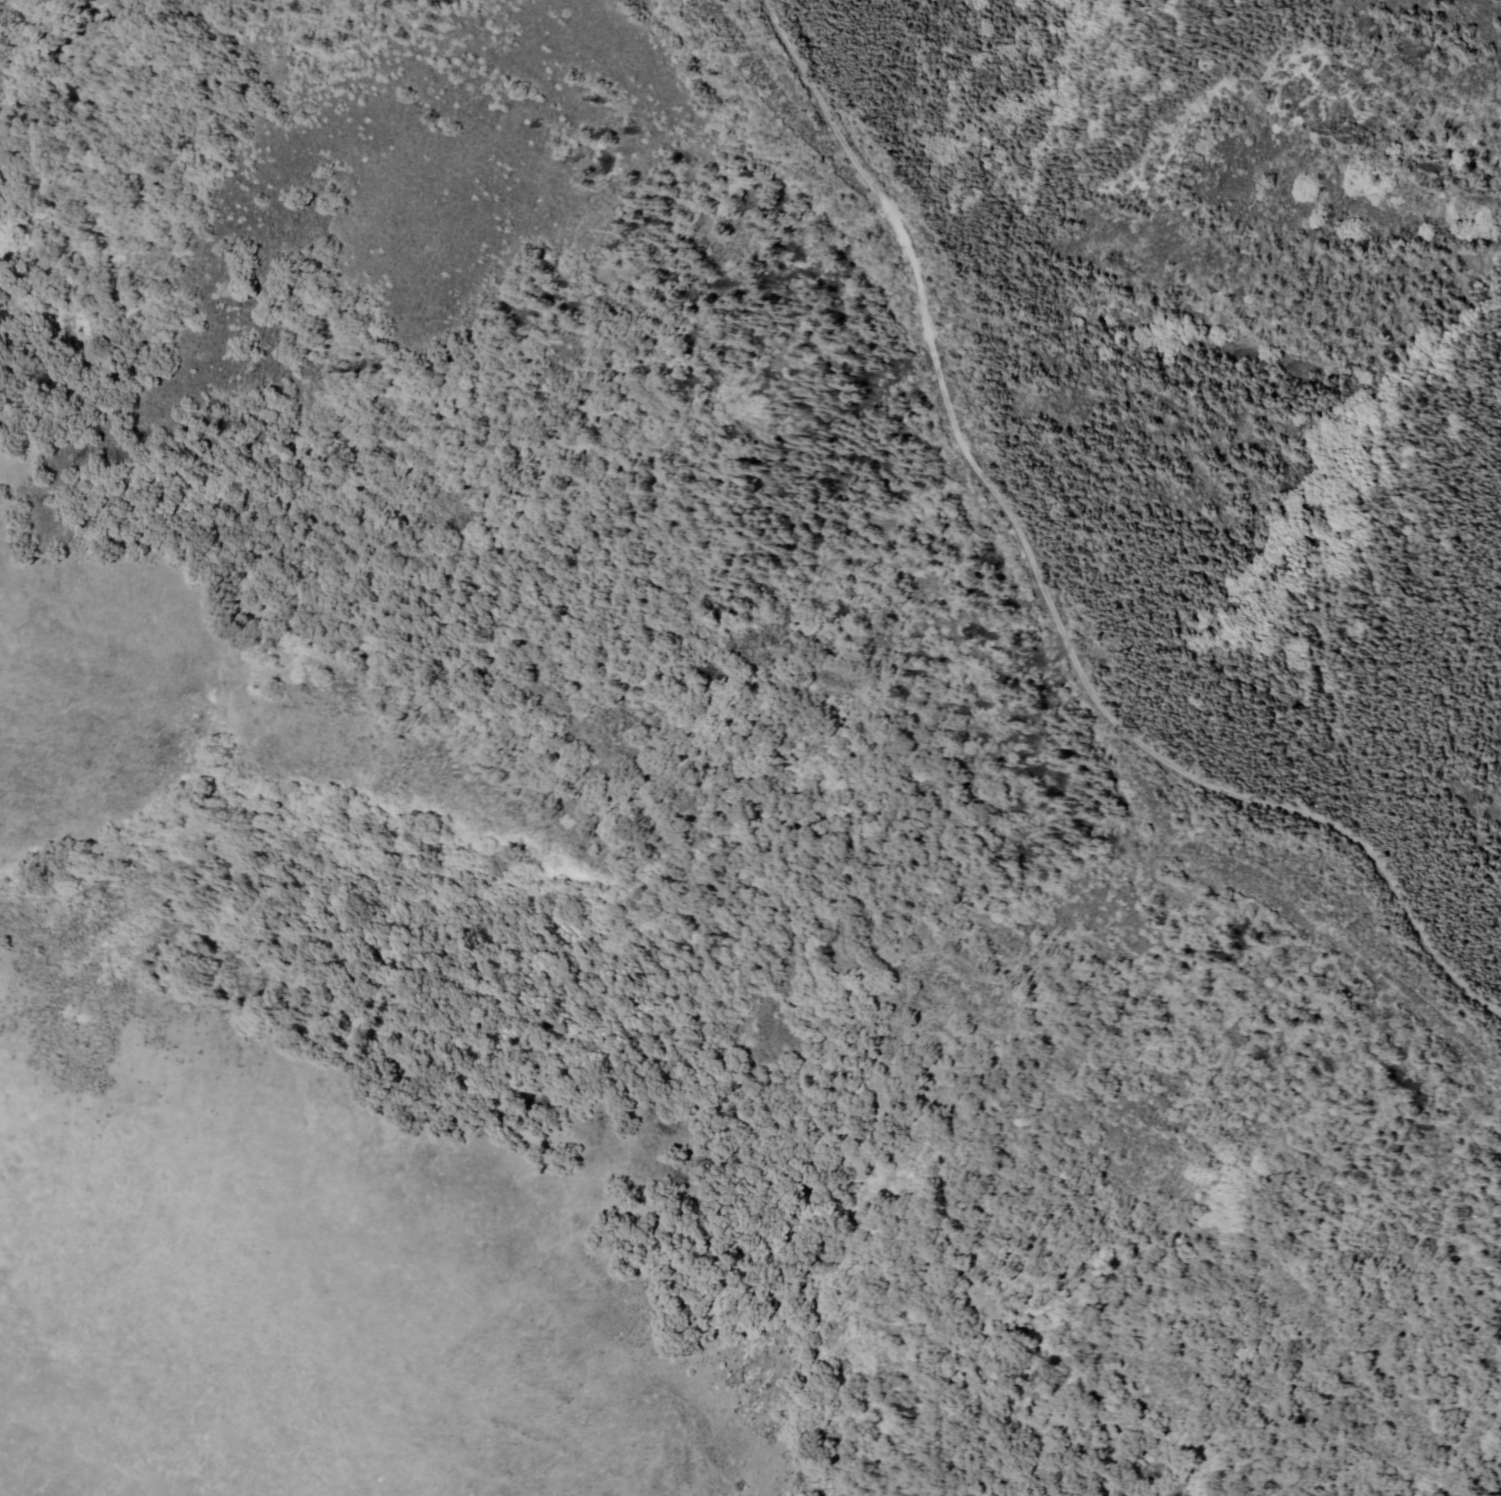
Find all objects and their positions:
road: (1042, 586)

